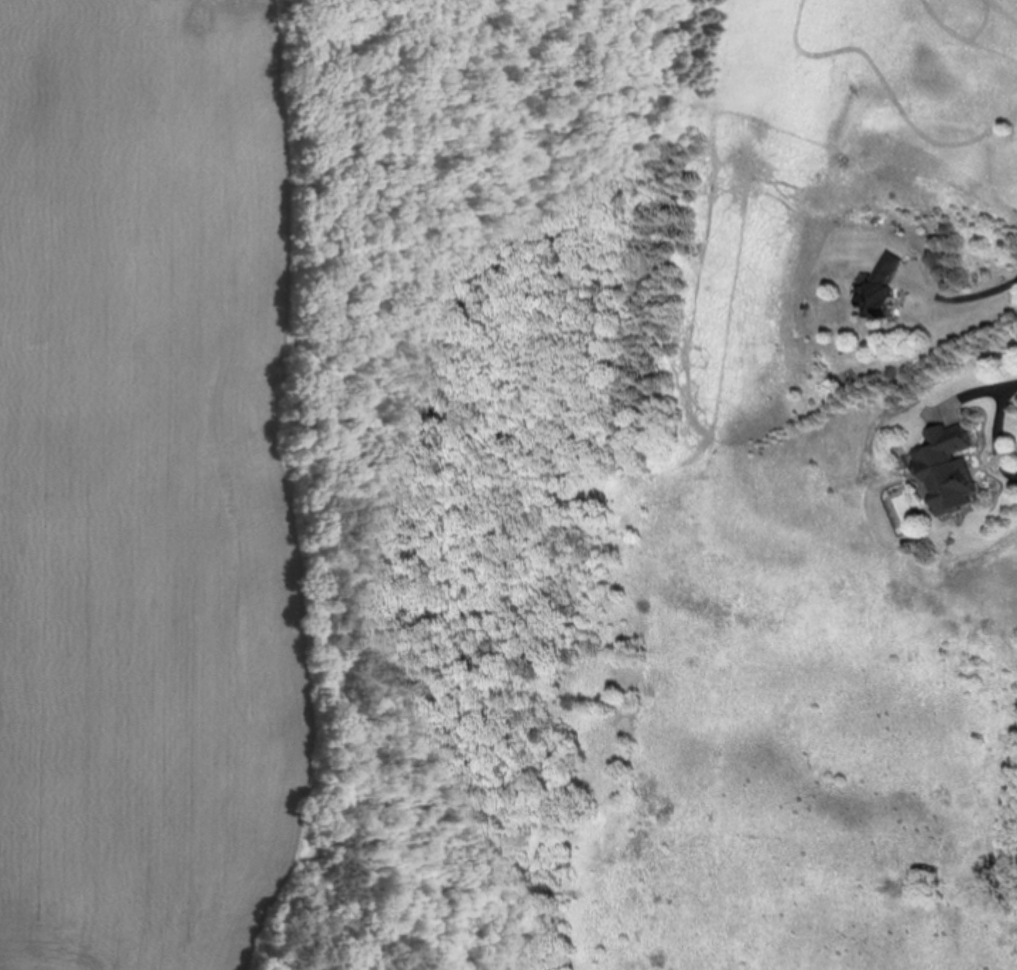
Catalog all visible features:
building: (883, 291)
road: (967, 297)
road: (997, 430)
building: (949, 468)

